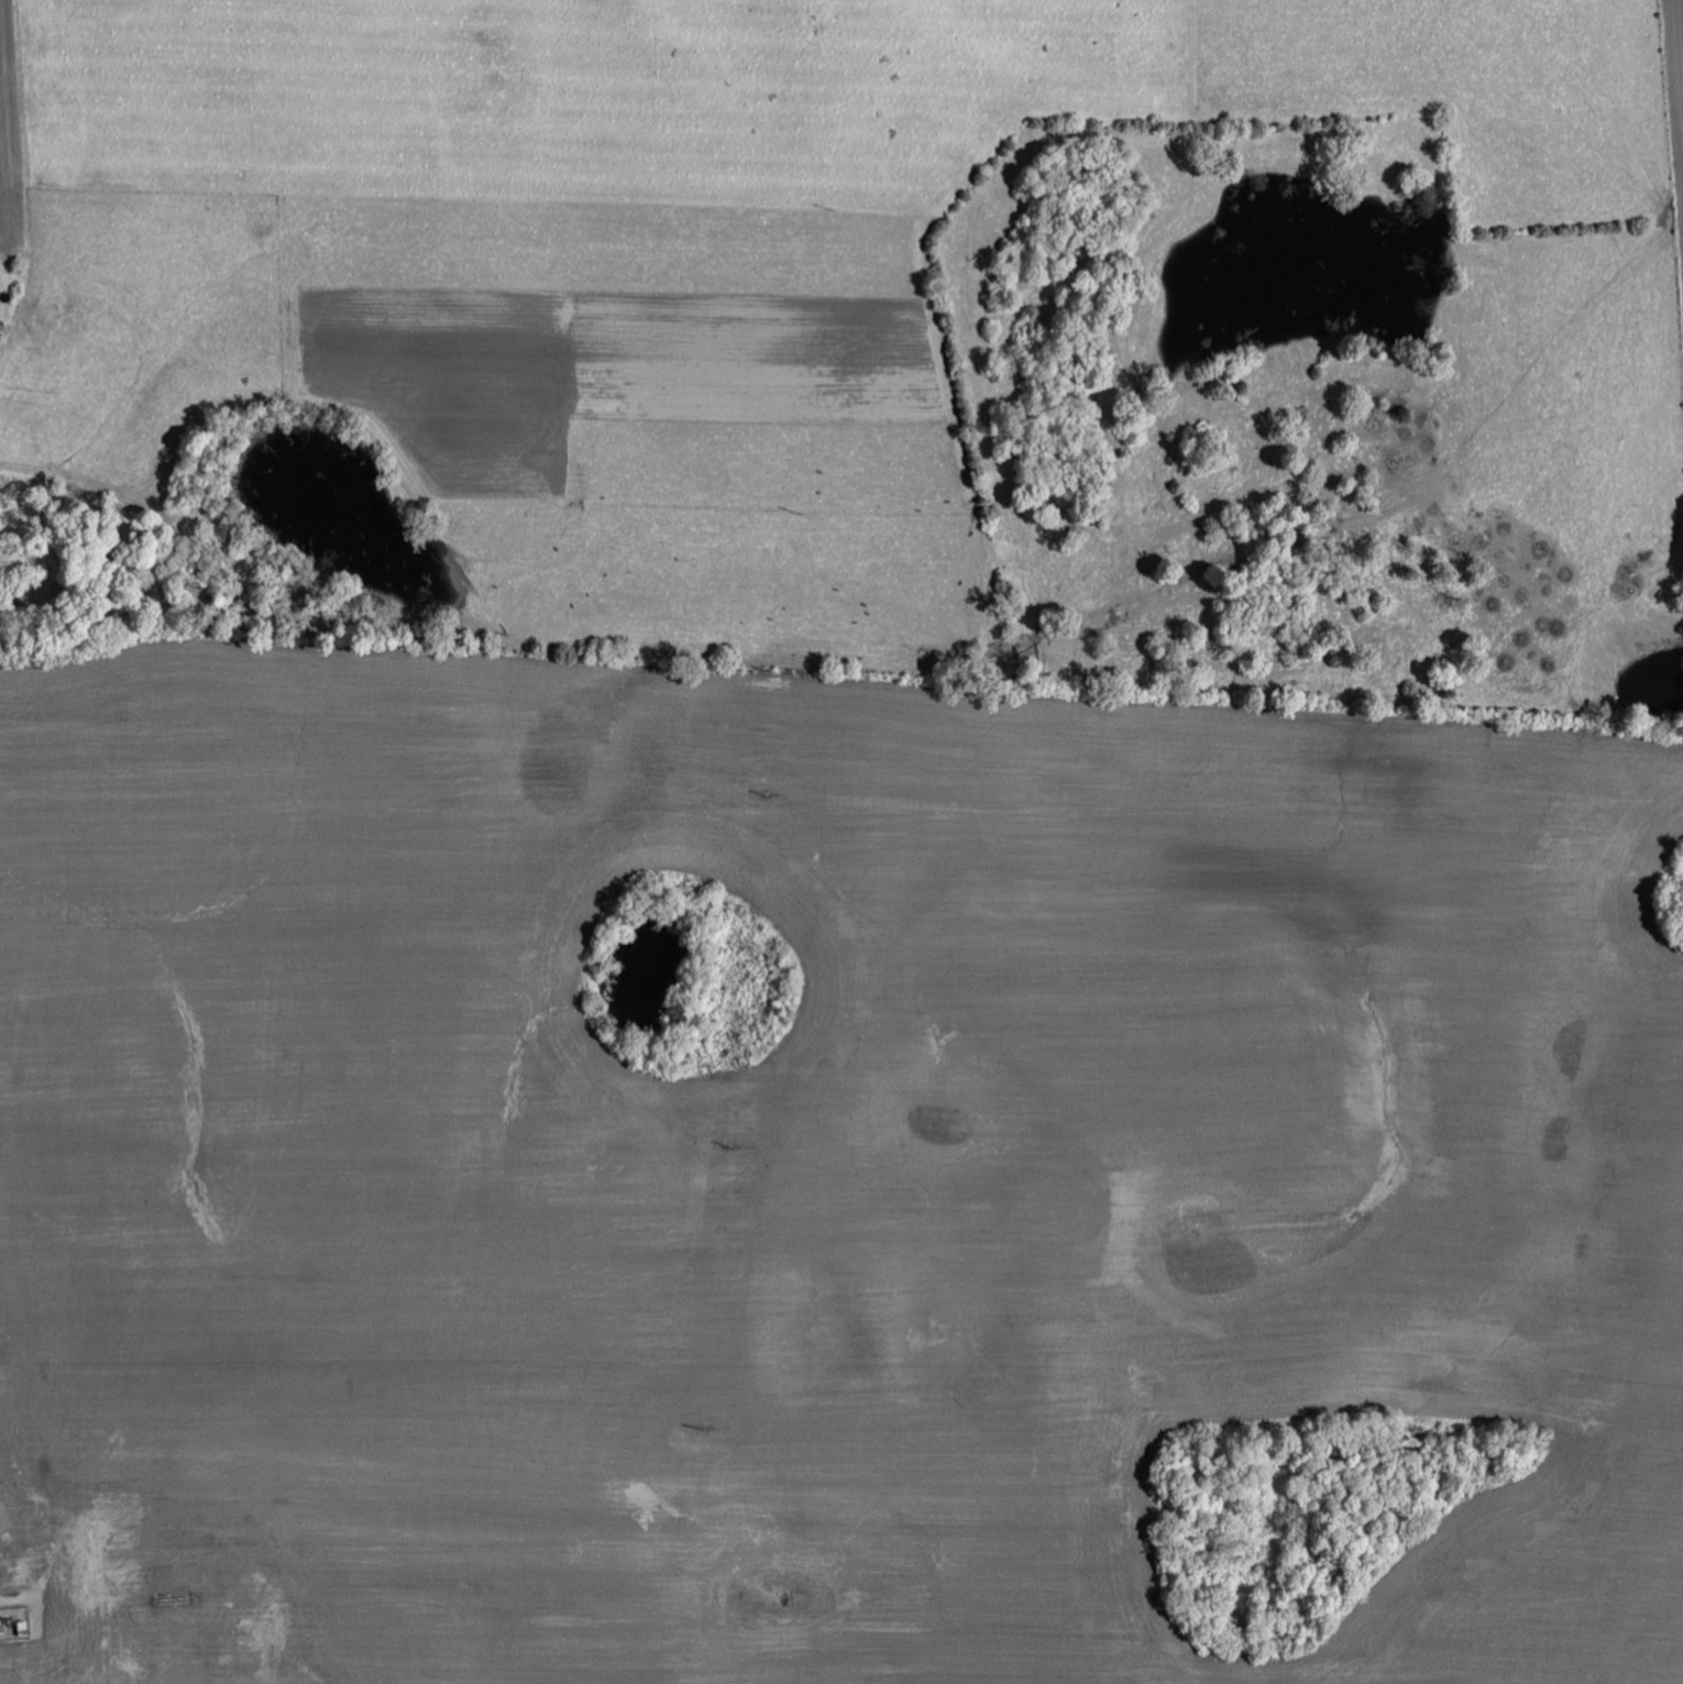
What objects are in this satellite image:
building: (1, 319)

